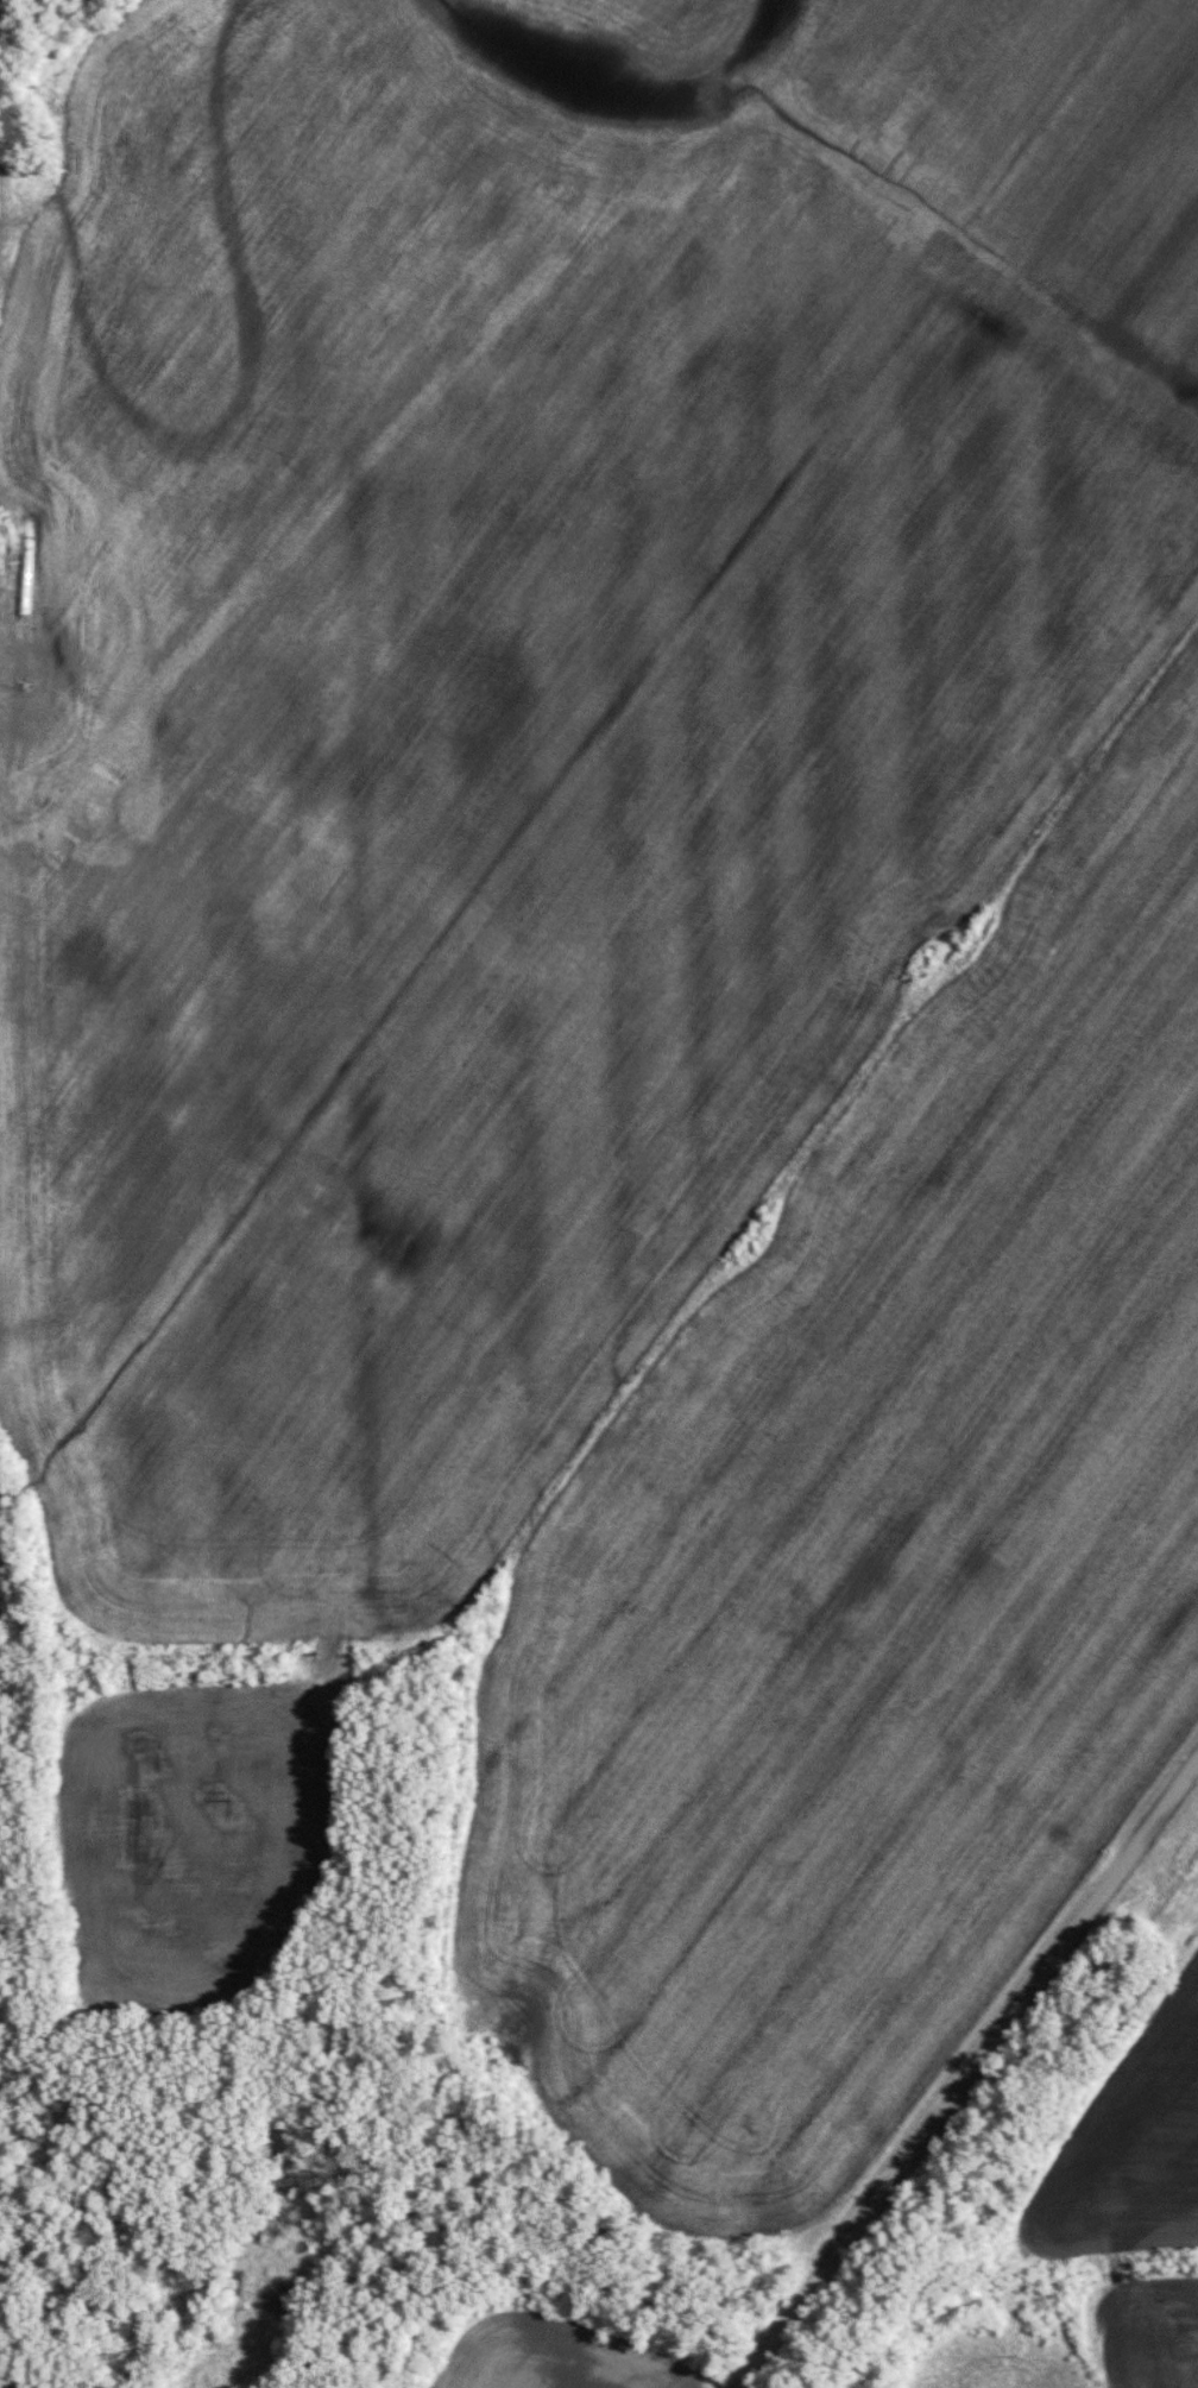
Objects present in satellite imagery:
crop: (523, 710)
crop: (868, 1580)
road: (969, 2073)

